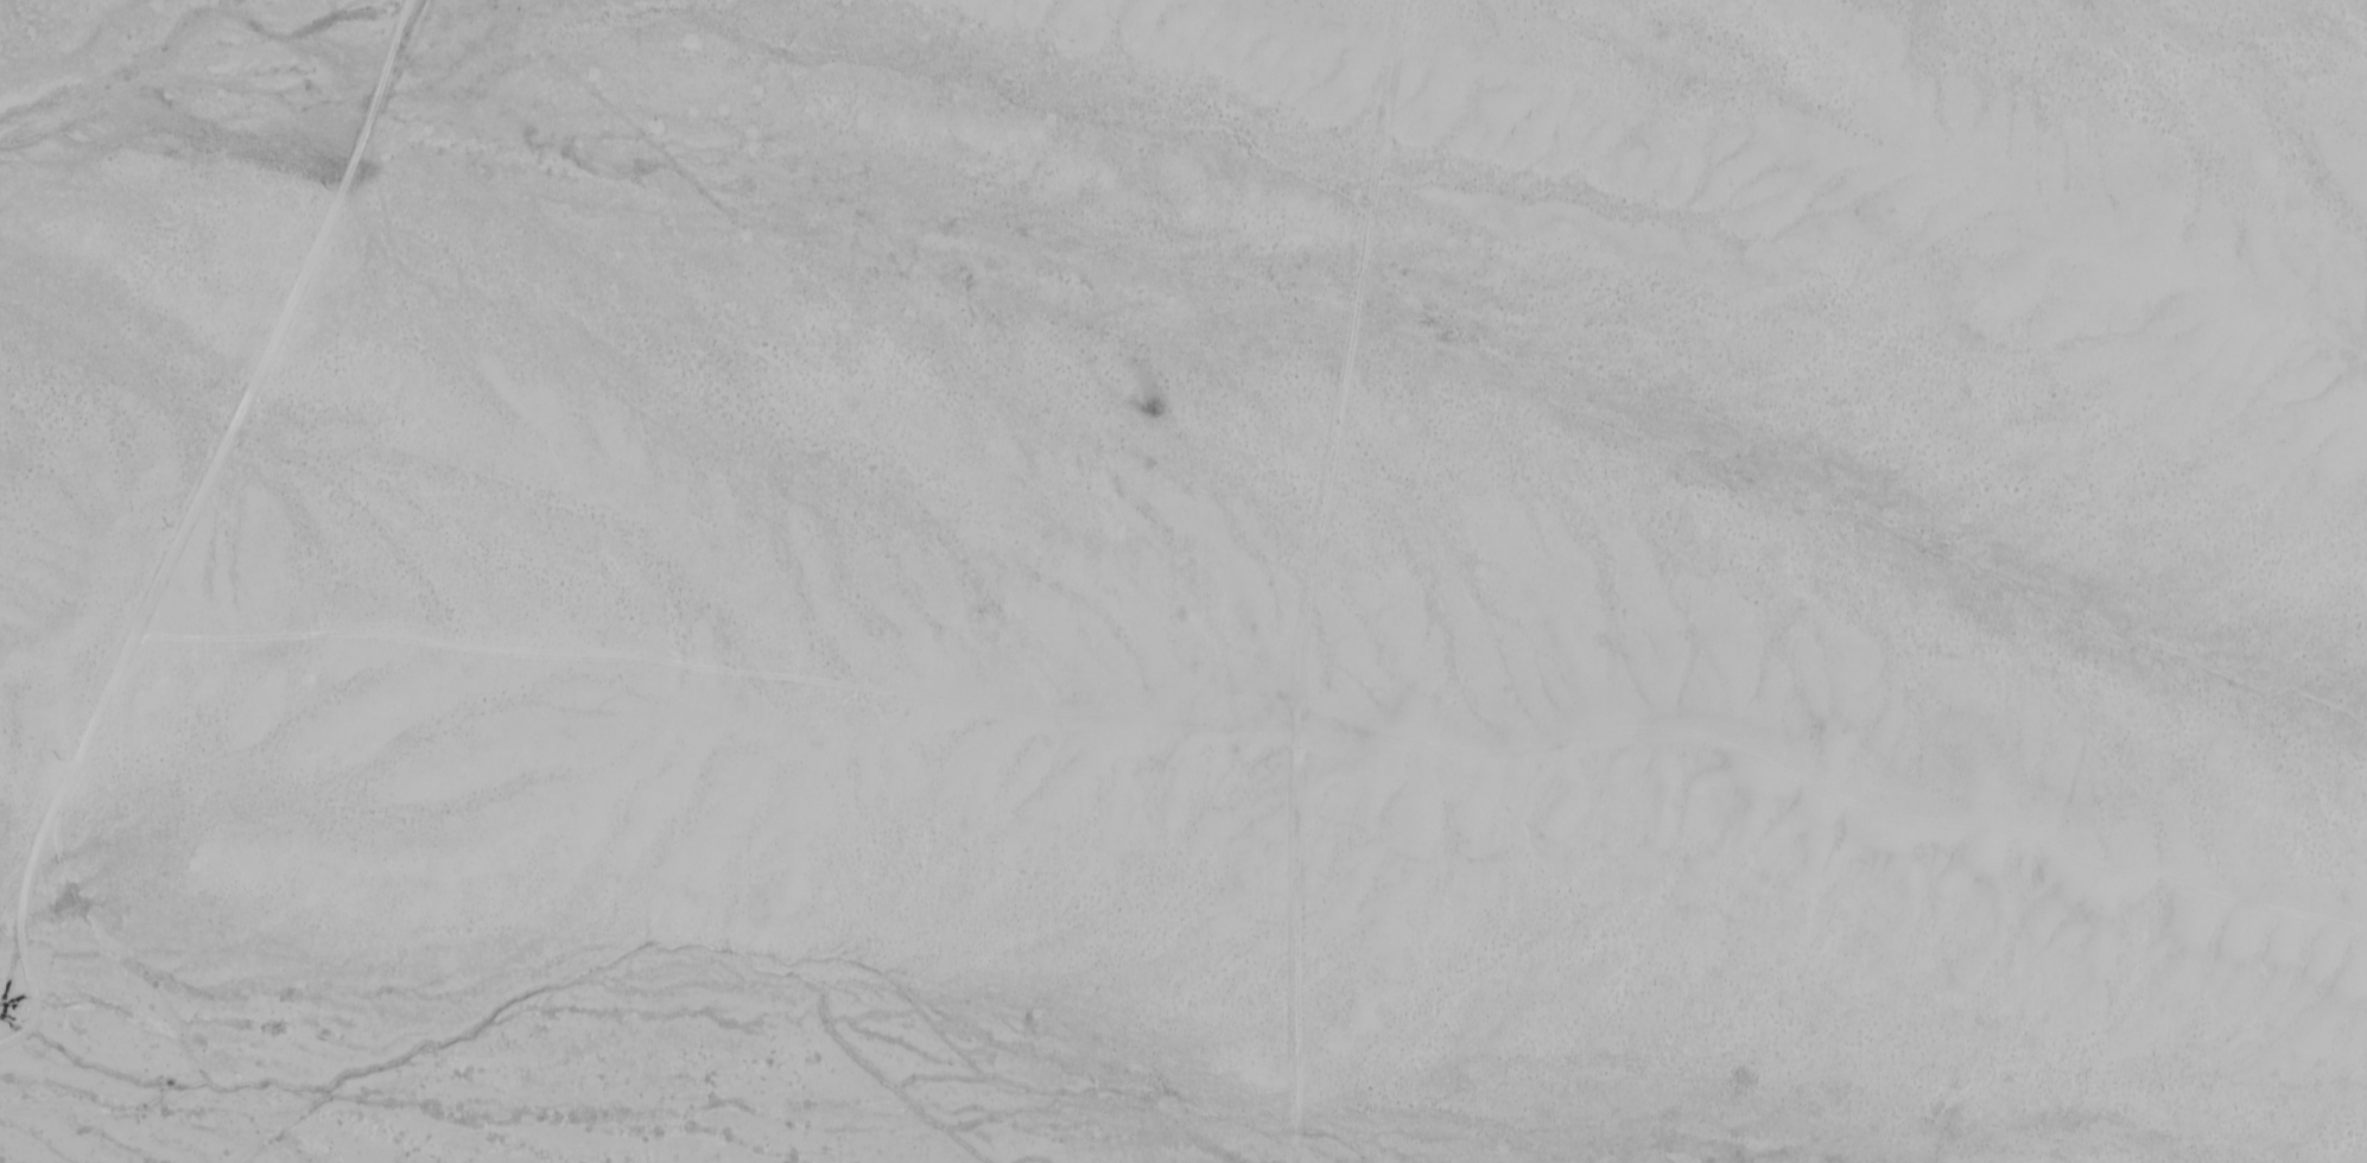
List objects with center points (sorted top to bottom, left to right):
road: (188, 514)
road: (1178, 682)

